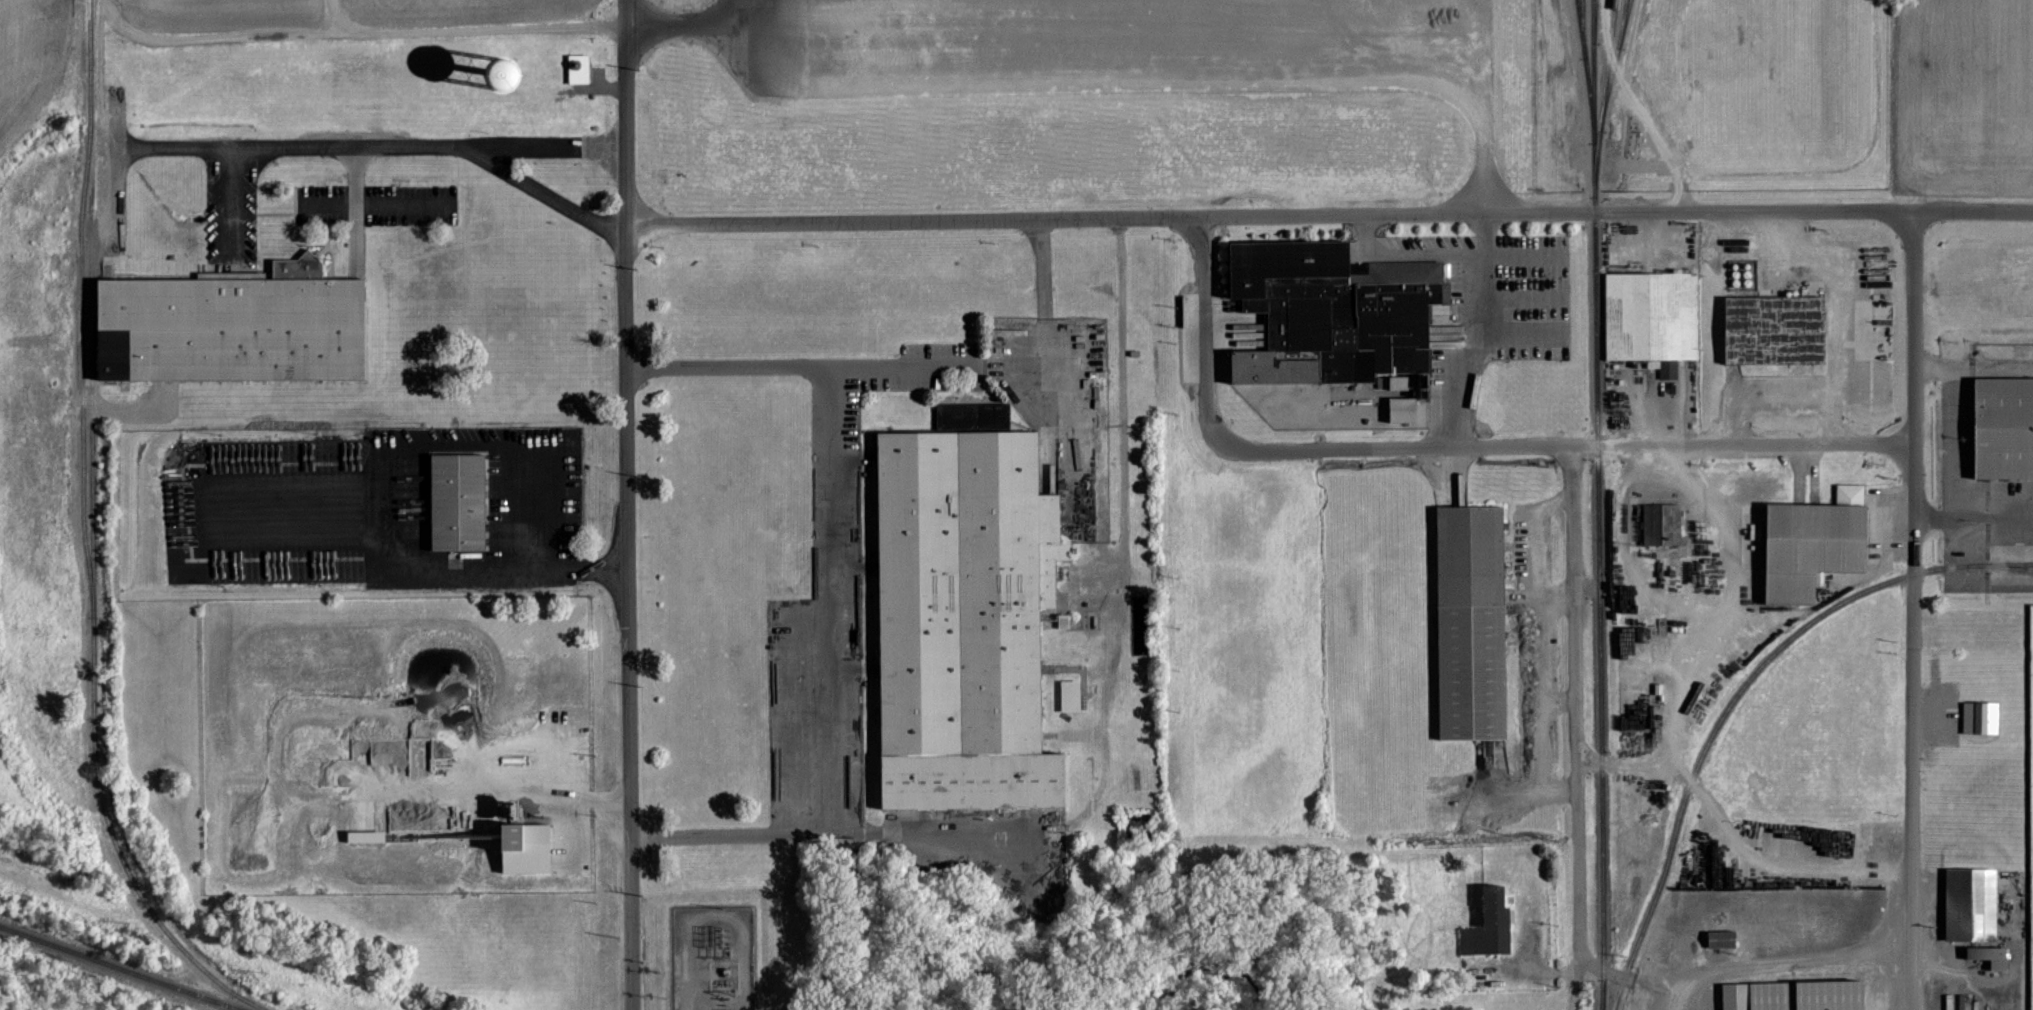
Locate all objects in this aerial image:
railway: (1593, 8)
road: (332, 17)
railway: (1581, 20)
road: (680, 26)
road: (354, 34)
road: (1170, 36)
railway: (1585, 65)
building: (580, 70)
water tower: (502, 73)
road: (625, 111)
road: (345, 145)
road: (237, 149)
road: (355, 164)
road: (541, 190)
road: (295, 204)
road: (355, 204)
parking lot: (375, 204)
parking lot: (231, 210)
road: (236, 212)
road: (275, 212)
road: (1972, 212)
road: (1268, 214)
road: (355, 250)
road: (1043, 269)
road: (1835, 310)
building: (1331, 313)
building: (1649, 318)
road: (1912, 326)
building: (231, 327)
road: (1474, 327)
building: (1772, 329)
road: (958, 362)
road: (814, 364)
road: (712, 365)
road: (1765, 397)
building: (1406, 410)
road: (1953, 420)
building: (2003, 426)
road: (1734, 443)
parking lot: (531, 490)
railway: (1597, 490)
building: (453, 501)
road: (384, 507)
parking lot: (265, 508)
road: (1973, 516)
building: (1659, 522)
railway: (84, 537)
road: (526, 540)
building: (1811, 542)
railway: (2005, 564)
railway: (2005, 566)
parking lot: (835, 567)
road: (604, 569)
building: (963, 611)
road: (1714, 615)
road: (628, 616)
building: (1468, 621)
road: (830, 630)
building: (1072, 696)
building: (1977, 716)
railway: (1721, 718)
building: (850, 724)
road: (1576, 729)
wastewater plant: (409, 744)
building: (409, 779)
road: (519, 795)
road: (698, 834)
building: (535, 836)
building: (367, 838)
building: (1967, 897)
building: (1488, 925)
building: (1718, 938)
building: (1988, 955)
power substation: (712, 957)
road: (1785, 962)
railway: (119, 968)
railway: (1600, 995)
railway: (1602, 995)
building: (1793, 995)

